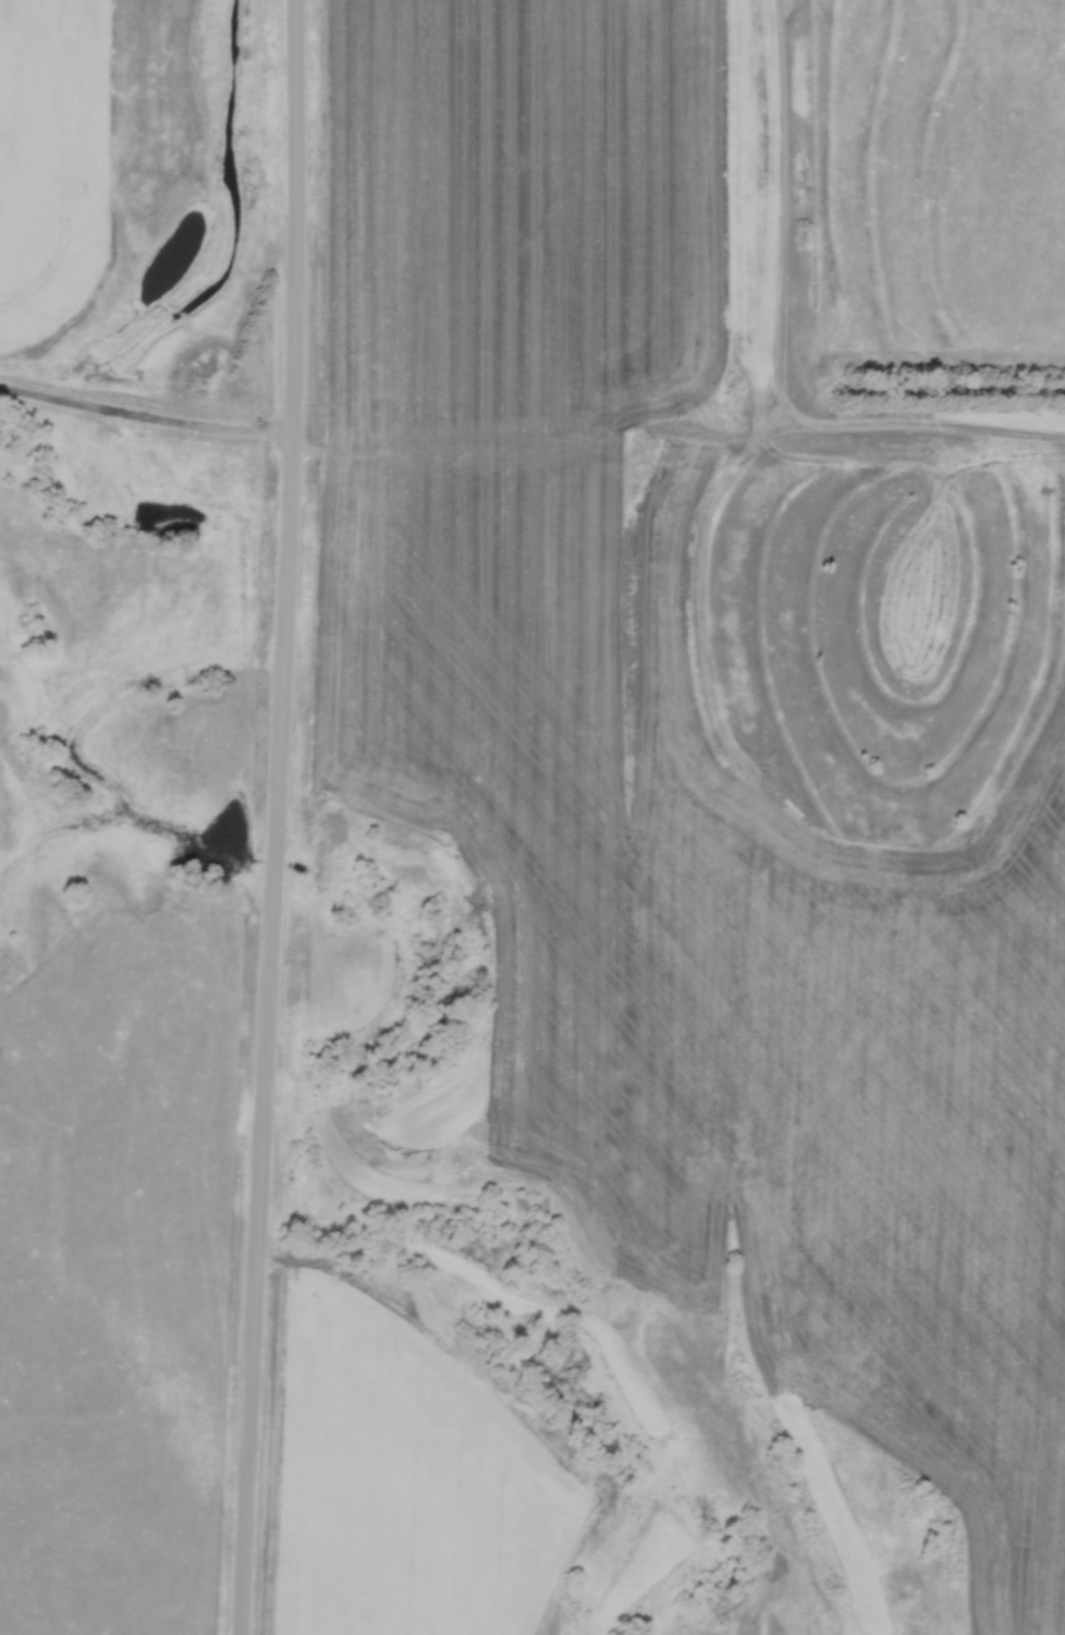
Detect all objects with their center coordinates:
road: (146, 417)
road: (280, 818)

